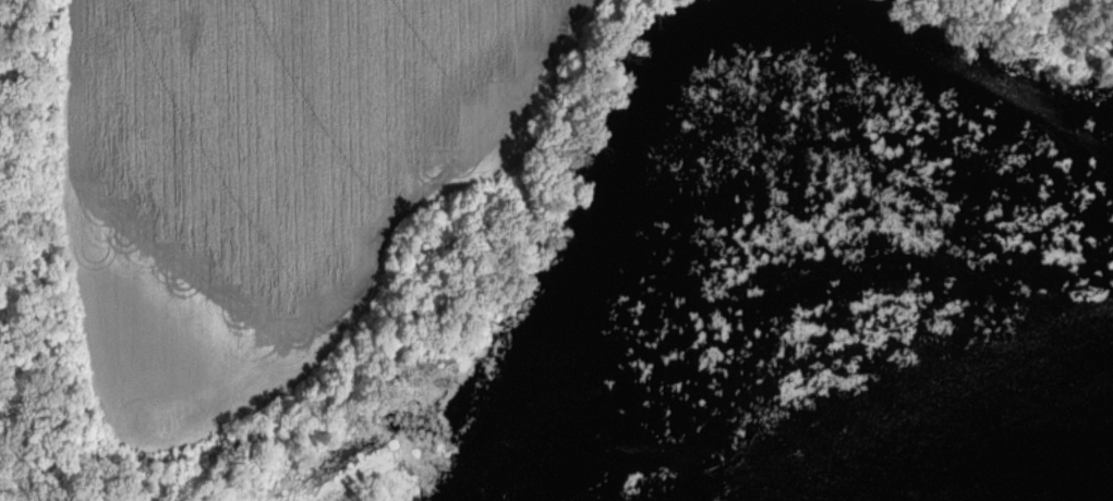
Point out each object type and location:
river: (940, 425)

